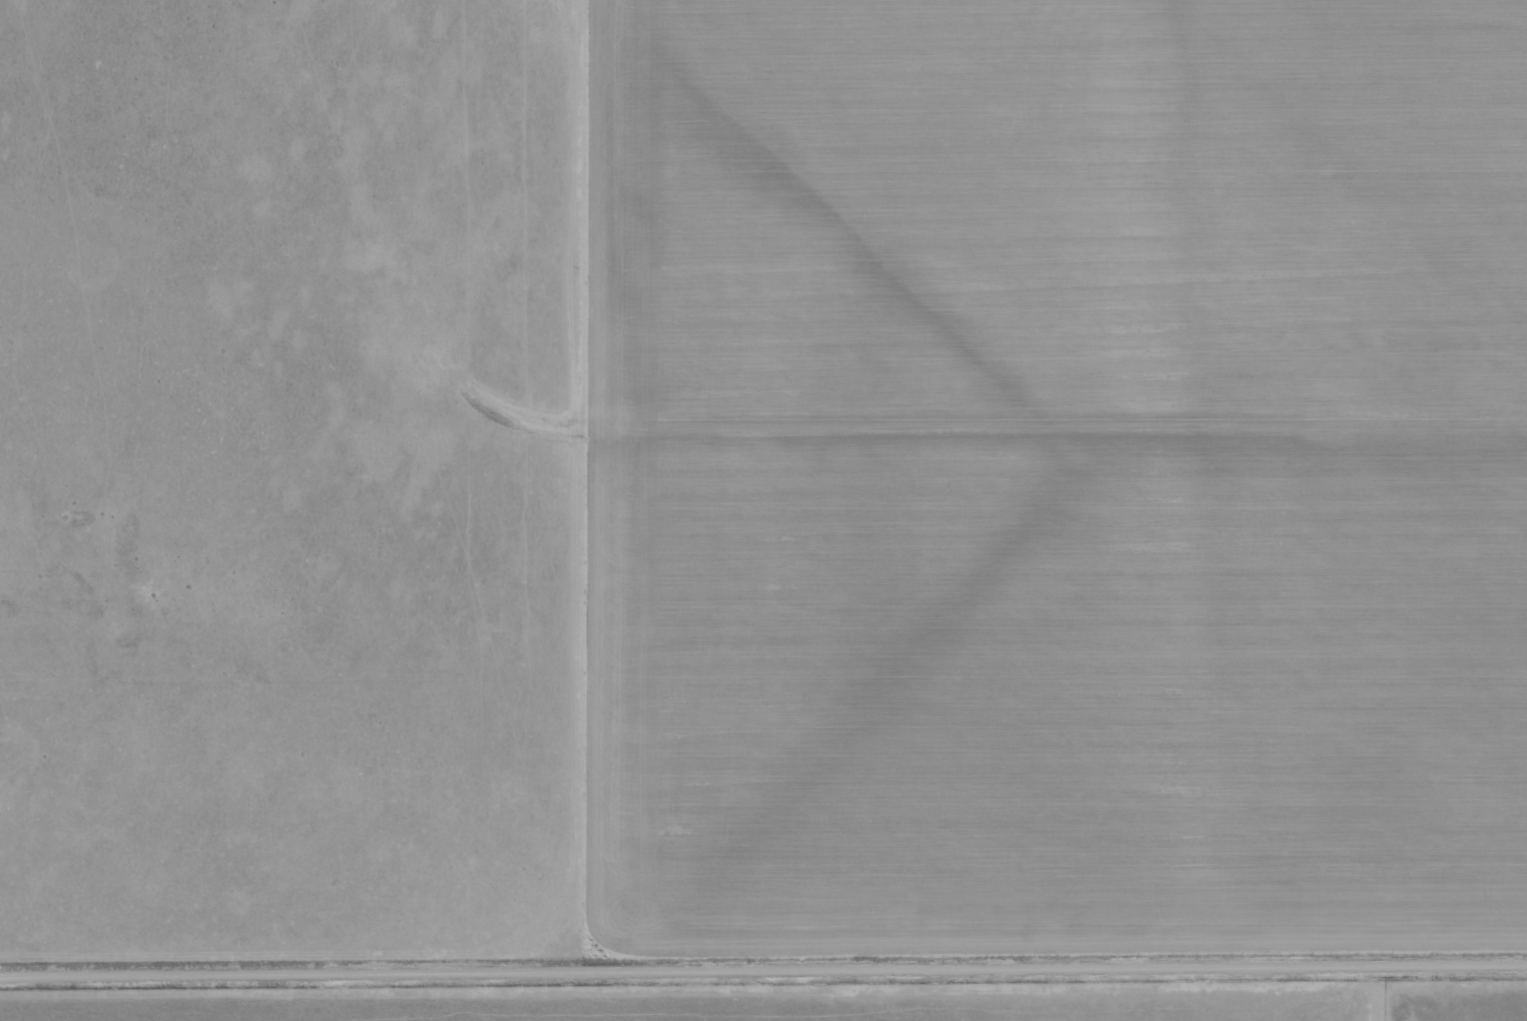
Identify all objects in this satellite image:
road: (763, 968)

